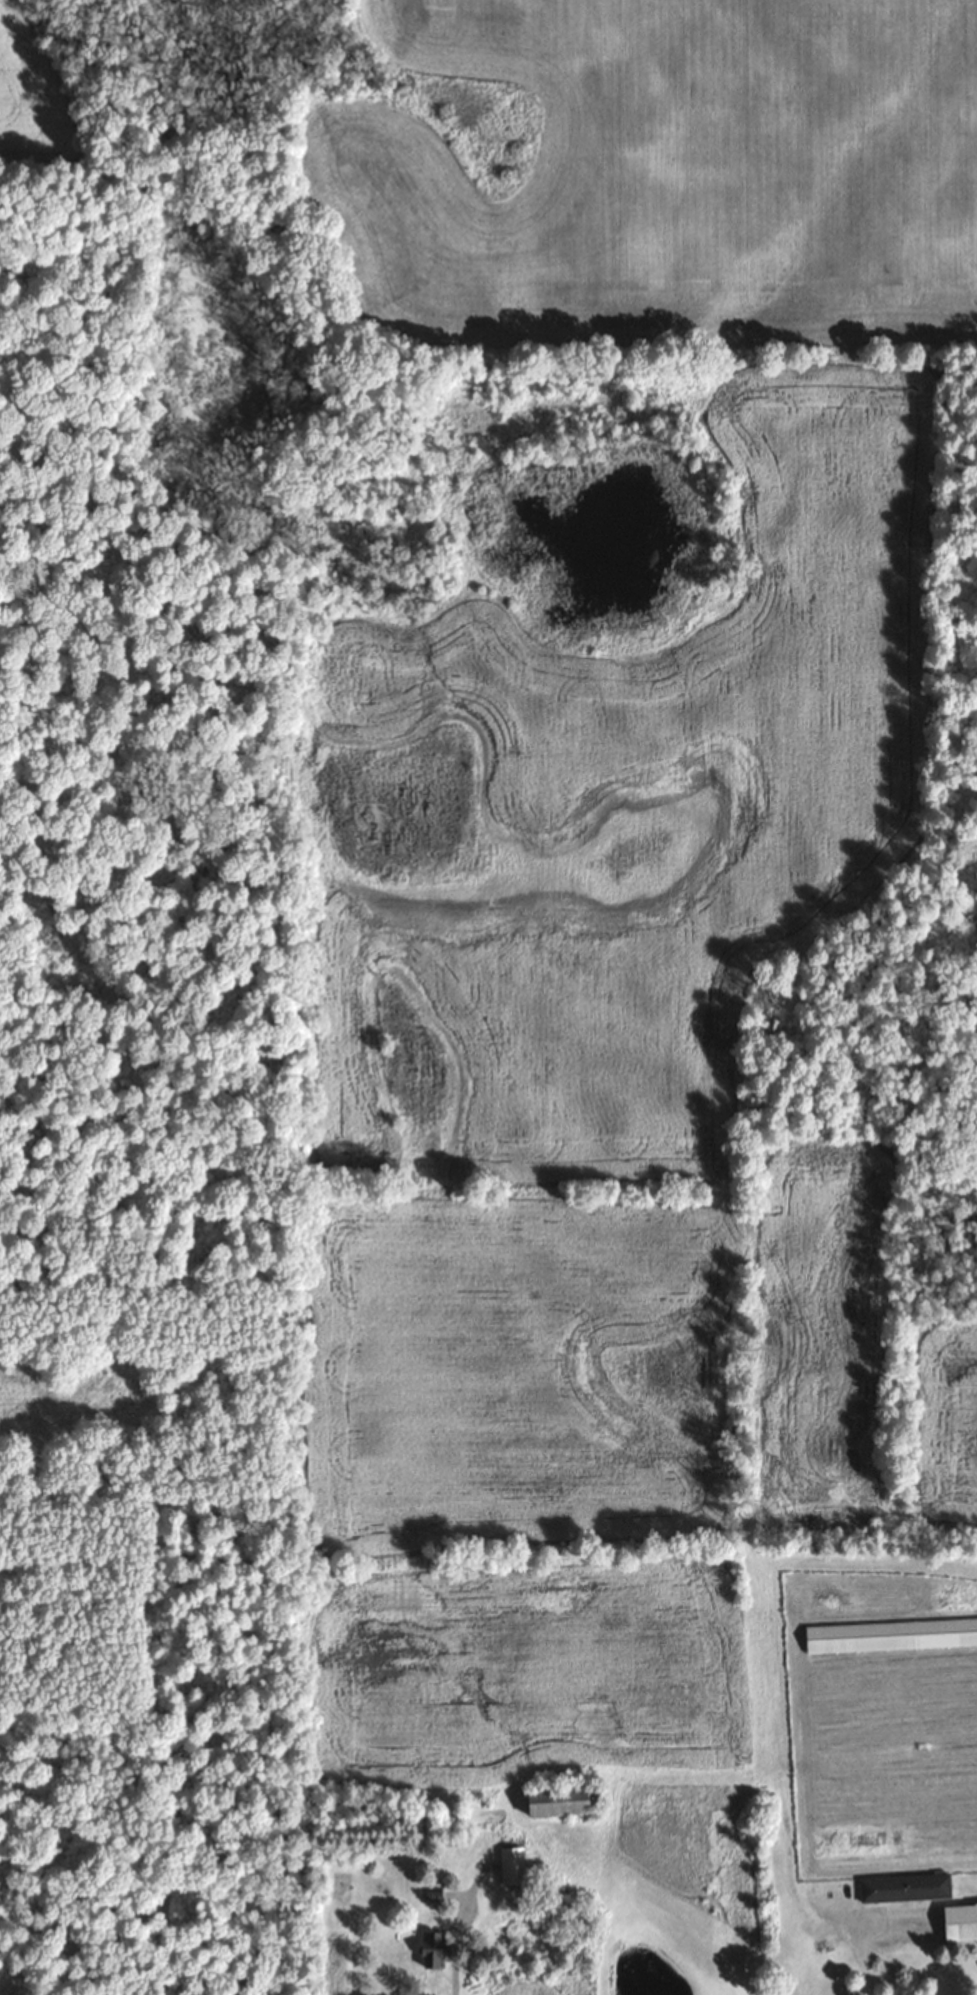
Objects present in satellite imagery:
building: (889, 1635)
building: (552, 1801)
building: (509, 1866)
building: (902, 1887)
building: (427, 1895)
building: (958, 1922)
building: (428, 1950)

